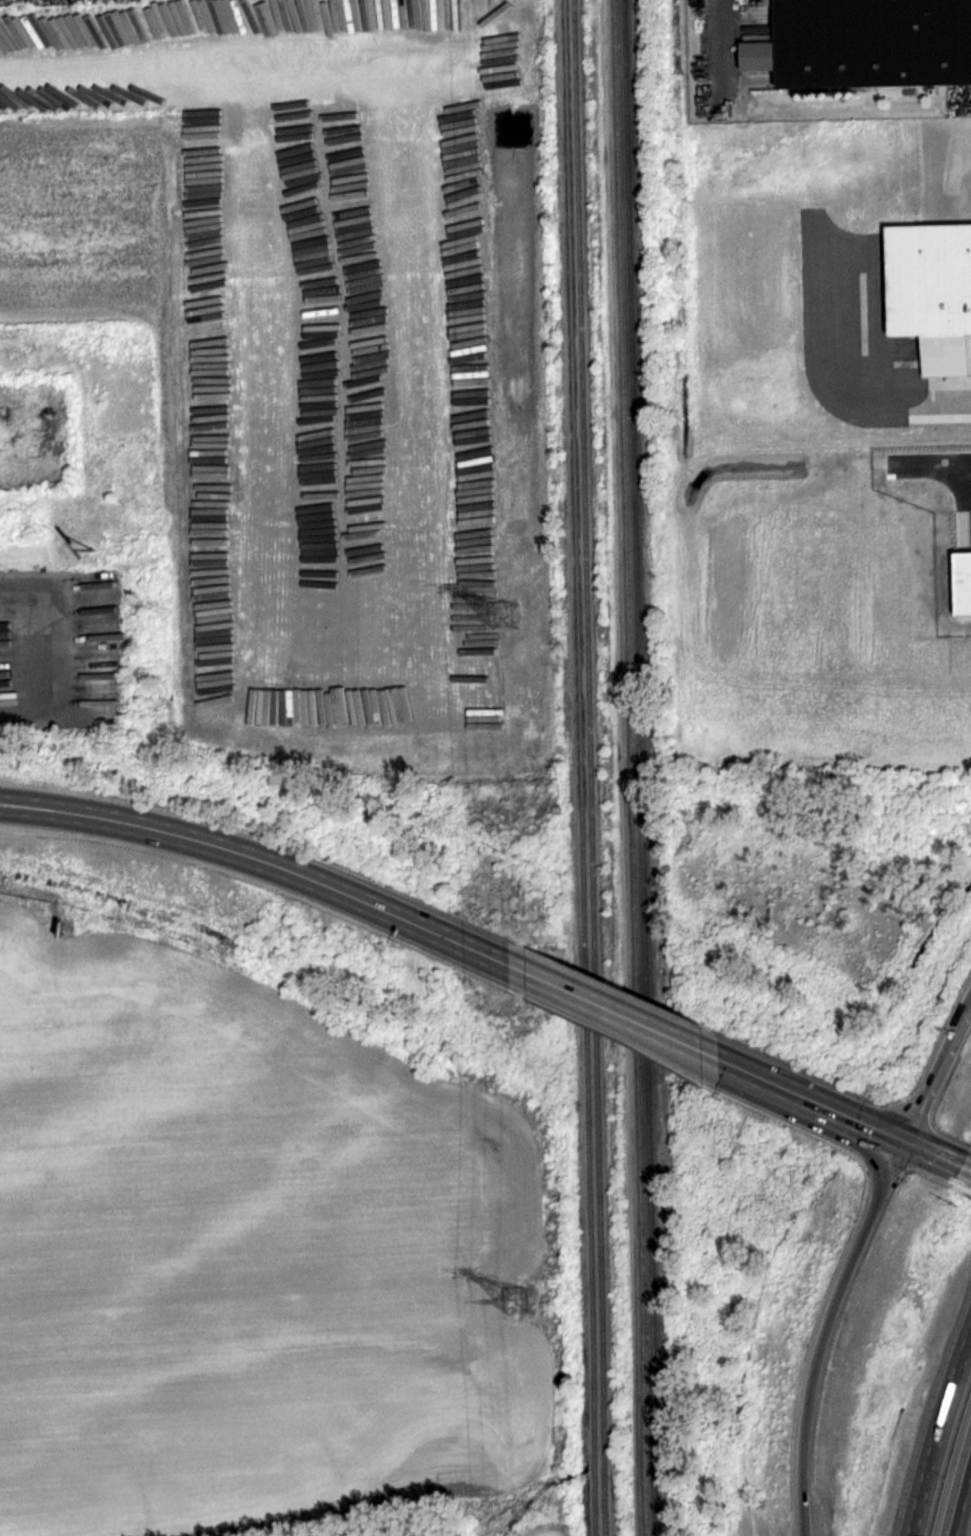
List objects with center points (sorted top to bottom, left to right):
building: (871, 43)
building: (928, 280)
building: (963, 583)
power tower: (514, 612)
railway: (578, 768)
railway: (588, 768)
railway: (630, 768)
railway: (639, 768)
road: (262, 859)
road: (607, 1008)
road: (939, 1071)
road: (806, 1096)
traffic signals: (909, 1140)
road: (940, 1153)
crop: (242, 1238)
power tower: (520, 1295)
road: (826, 1330)
road: (937, 1431)
road: (958, 1494)
crop: (545, 1525)

